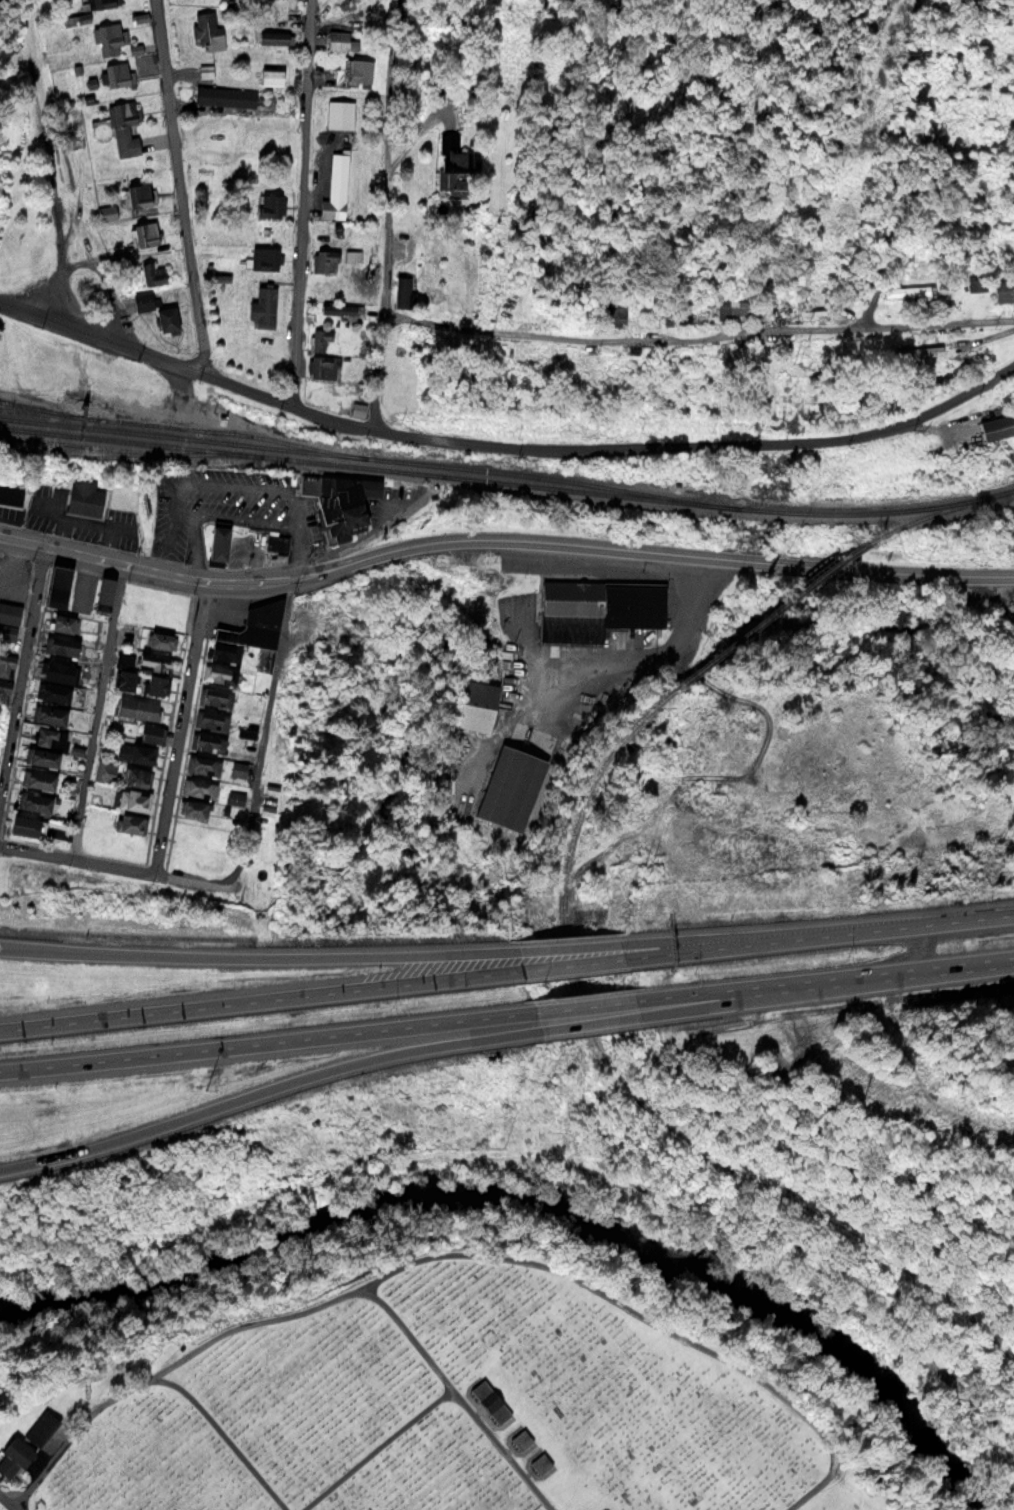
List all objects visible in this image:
building: (103, 3)
building: (207, 30)
building: (108, 36)
building: (273, 36)
building: (339, 39)
building: (118, 74)
building: (271, 75)
building: (225, 95)
building: (341, 114)
building: (124, 127)
road: (389, 153)
building: (456, 163)
road: (189, 186)
building: (140, 195)
road: (310, 204)
building: (270, 205)
building: (333, 208)
building: (108, 212)
building: (144, 233)
building: (266, 257)
building: (325, 260)
building: (152, 273)
building: (977, 282)
building: (906, 288)
building: (1004, 289)
building: (404, 291)
building: (144, 300)
building: (733, 304)
building: (339, 309)
building: (615, 313)
building: (167, 319)
building: (320, 338)
road: (699, 338)
building: (918, 350)
building: (705, 359)
building: (261, 362)
building: (325, 365)
road: (380, 369)
railway: (34, 405)
railway: (174, 424)
building: (996, 426)
railway: (72, 443)
road: (505, 444)
railway: (113, 450)
railway: (369, 455)
railway: (507, 481)
building: (11, 493)
building: (85, 496)
building: (340, 502)
railway: (940, 516)
building: (217, 542)
building: (278, 542)
road: (648, 548)
railway: (841, 564)
road: (843, 566)
road: (935, 572)
building: (57, 583)
road: (232, 584)
building: (104, 591)
building: (597, 606)
building: (10, 612)
building: (63, 621)
railway: (761, 624)
building: (256, 629)
building: (160, 638)
building: (61, 645)
building: (224, 652)
building: (6, 664)
building: (56, 669)
road: (23, 671)
building: (156, 671)
building: (219, 673)
building: (2, 689)
building: (53, 691)
building: (213, 694)
building: (474, 703)
building: (147, 709)
road: (98, 710)
building: (50, 714)
building: (212, 719)
road: (181, 727)
building: (150, 731)
road: (264, 736)
building: (208, 741)
building: (47, 745)
building: (134, 751)
building: (204, 764)
building: (238, 768)
building: (106, 770)
building: (135, 775)
building: (38, 778)
building: (510, 785)
building: (199, 787)
building: (236, 797)
building: (132, 798)
building: (34, 801)
building: (192, 807)
building: (129, 821)
building: (23, 824)
road: (110, 861)
road: (824, 934)
road: (717, 937)
road: (569, 944)
road: (923, 947)
road: (253, 955)
road: (573, 963)
road: (828, 976)
road: (784, 991)
road: (255, 999)
road: (585, 1004)
road: (591, 1020)
road: (263, 1041)
railway: (623, 1077)
road: (264, 1088)
river: (545, 1195)
road: (534, 1261)
road: (413, 1331)
road: (156, 1374)
building: (491, 1400)
park: (457, 1411)
building: (40, 1426)
building: (522, 1438)
road: (382, 1445)
road: (508, 1445)
building: (13, 1456)
building: (541, 1462)
road: (7, 1501)
park: (5, 1504)
building: (609, 1509)

